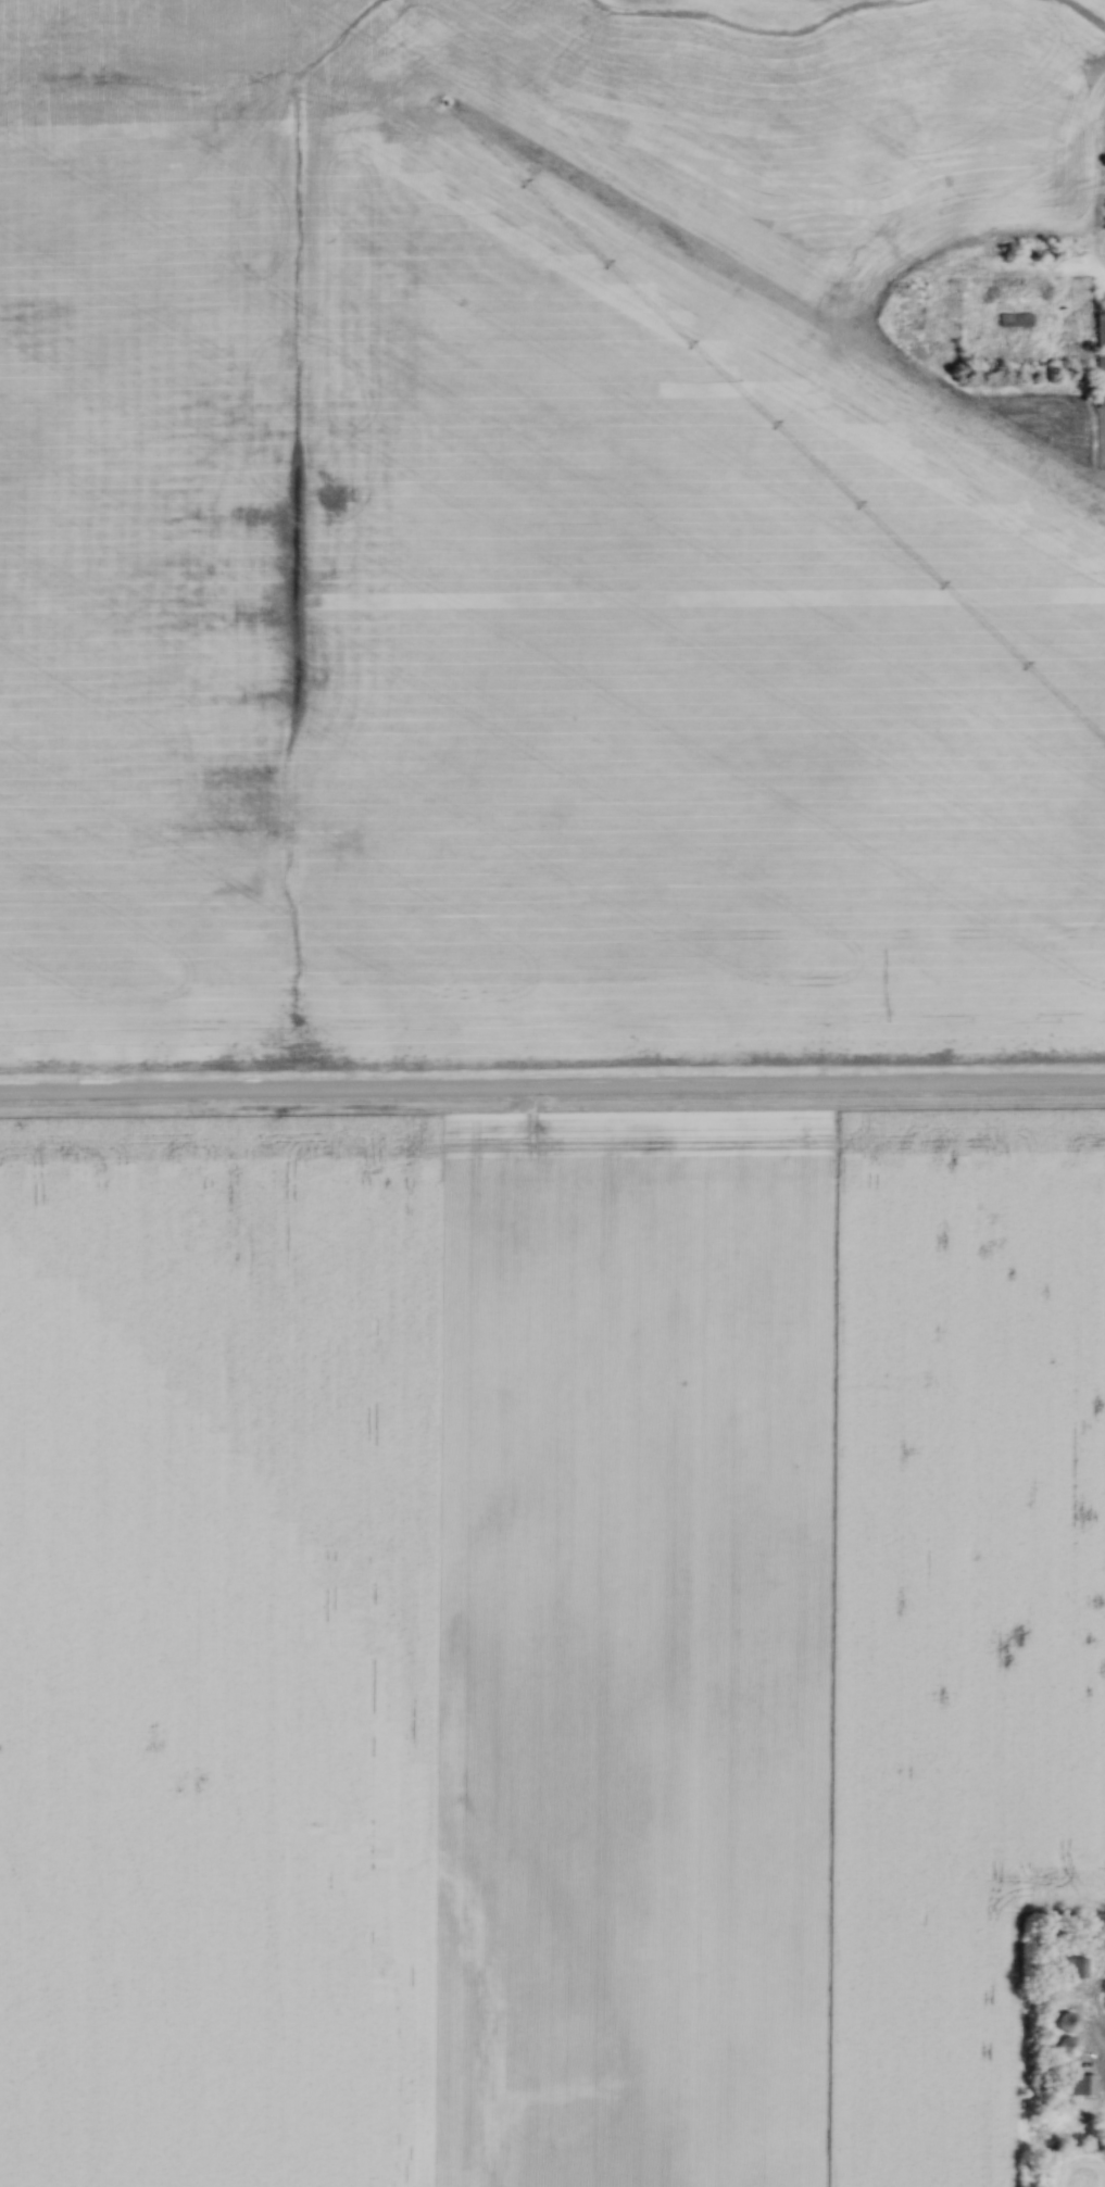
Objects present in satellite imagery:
building: (1016, 319)
building: (1100, 359)
road: (552, 1091)
building: (1070, 2021)
building: (1071, 2046)
building: (1083, 2085)

